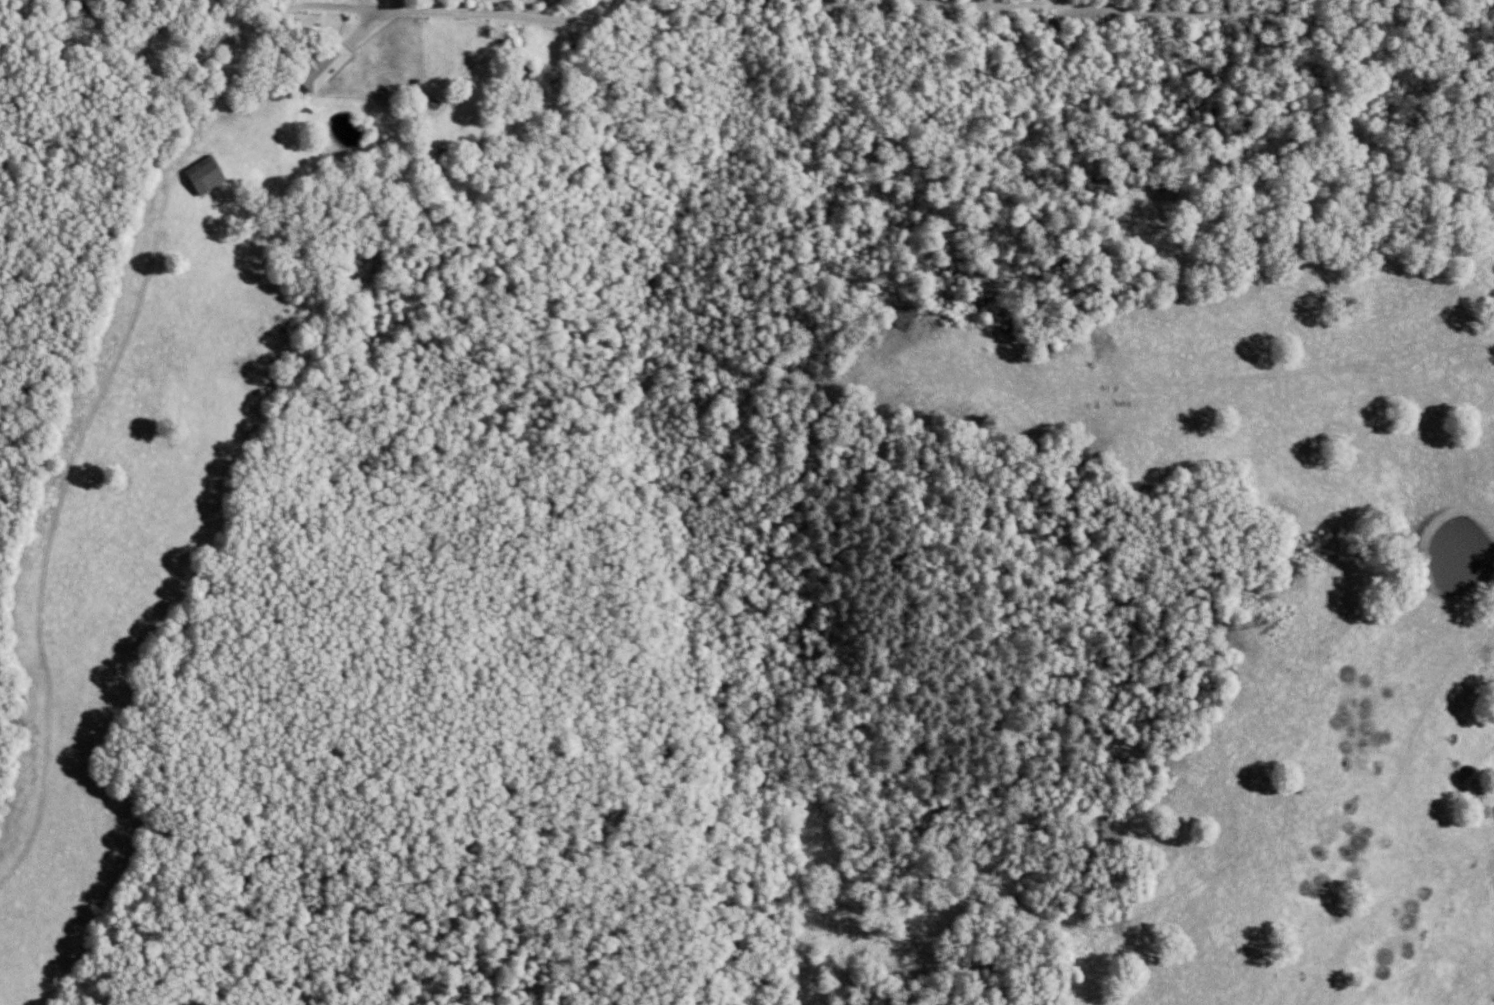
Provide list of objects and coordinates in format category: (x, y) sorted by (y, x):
road: (476, 6)
road: (1234, 12)
building: (329, 65)

